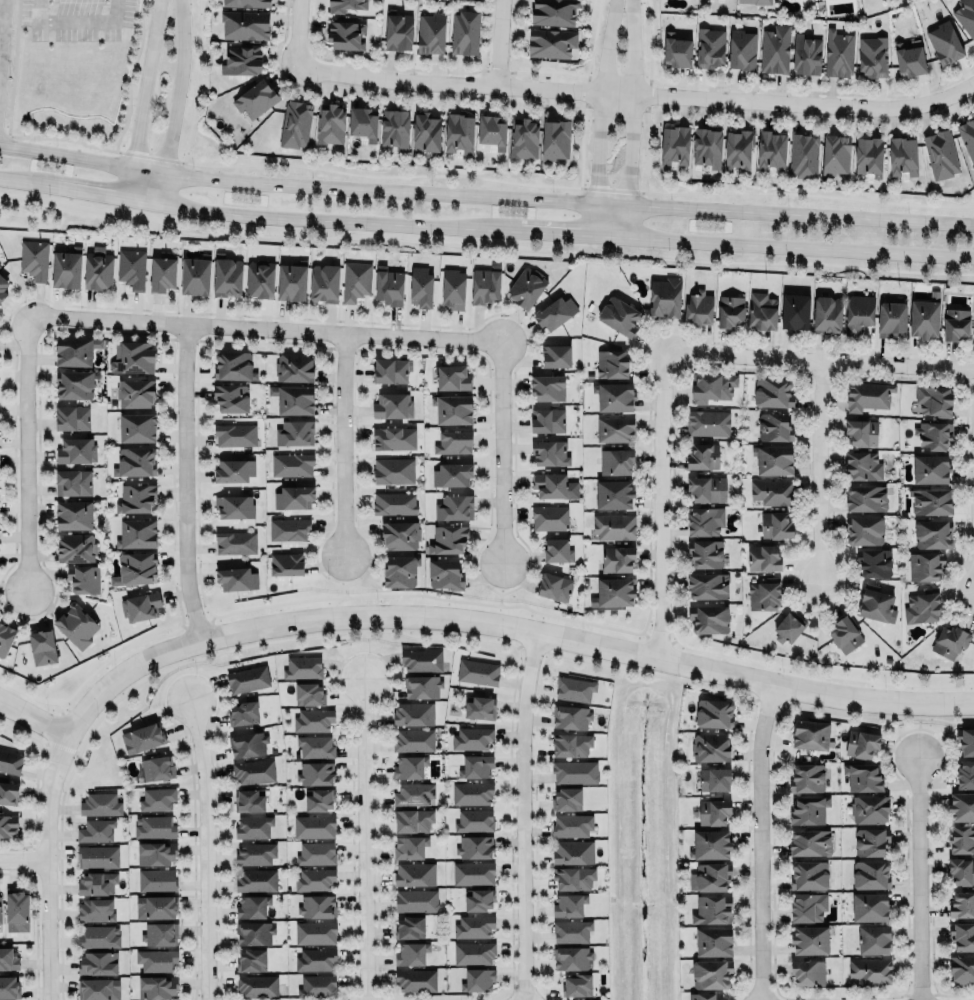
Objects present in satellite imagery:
building: (757, 1)
building: (246, 2)
building: (344, 4)
building: (552, 10)
building: (965, 17)
road: (1, 19)
parking lot: (75, 20)
road: (77, 20)
road: (2, 24)
building: (244, 25)
building: (397, 29)
building: (464, 30)
building: (345, 32)
road: (297, 33)
building: (430, 33)
building: (551, 41)
building: (945, 41)
road: (500, 42)
building: (709, 46)
building: (676, 48)
building: (742, 48)
building: (775, 48)
building: (839, 52)
building: (806, 54)
building: (873, 55)
building: (242, 58)
building: (909, 58)
road: (636, 94)
road: (143, 97)
building: (255, 98)
road: (176, 101)
road: (600, 115)
road: (633, 116)
building: (330, 122)
building: (363, 122)
building: (295, 123)
building: (395, 127)
building: (459, 131)
building: (491, 131)
building: (427, 132)
building: (524, 136)
building: (965, 136)
building: (555, 139)
building: (674, 144)
building: (707, 146)
building: (771, 149)
building: (737, 150)
building: (936, 151)
building: (835, 153)
building: (897, 154)
building: (803, 155)
building: (868, 156)
road: (485, 193)
road: (244, 214)
road: (559, 230)
road: (801, 244)
building: (34, 258)
building: (67, 266)
building: (131, 266)
building: (98, 267)
building: (162, 273)
building: (195, 274)
building: (227, 275)
building: (259, 279)
building: (291, 280)
building: (355, 280)
building: (324, 282)
building: (389, 284)
building: (484, 284)
building: (420, 285)
building: (526, 286)
building: (2, 287)
building: (453, 287)
building: (665, 296)
building: (698, 308)
building: (794, 309)
building: (730, 310)
building: (761, 310)
building: (555, 311)
building: (858, 312)
building: (826, 314)
building: (619, 315)
building: (889, 316)
building: (923, 317)
building: (956, 324)
road: (262, 329)
building: (973, 340)
building: (75, 349)
building: (556, 354)
building: (133, 356)
road: (819, 361)
building: (612, 362)
building: (233, 365)
building: (295, 366)
building: (390, 369)
building: (453, 375)
building: (74, 384)
building: (547, 384)
building: (711, 386)
building: (135, 392)
building: (773, 392)
building: (865, 394)
building: (614, 396)
building: (231, 398)
building: (294, 398)
building: (931, 398)
building: (392, 405)
building: (453, 409)
building: (72, 418)
building: (548, 419)
building: (707, 422)
building: (137, 426)
building: (773, 426)
building: (615, 428)
building: (860, 429)
building: (295, 431)
building: (933, 433)
building: (235, 434)
building: (394, 437)
building: (453, 440)
road: (340, 445)
building: (76, 449)
building: (549, 451)
road: (499, 452)
road: (25, 453)
building: (703, 455)
building: (773, 458)
building: (135, 461)
building: (616, 461)
building: (291, 464)
building: (863, 464)
building: (930, 468)
building: (233, 470)
building: (393, 470)
building: (452, 473)
road: (820, 473)
building: (73, 481)
building: (550, 483)
road: (184, 485)
building: (707, 488)
building: (772, 490)
building: (613, 492)
building: (294, 496)
building: (866, 497)
building: (136, 498)
building: (929, 498)
building: (394, 503)
building: (234, 505)
road: (659, 505)
building: (454, 506)
building: (73, 514)
building: (549, 517)
building: (704, 521)
building: (613, 525)
building: (775, 525)
building: (288, 528)
building: (864, 529)
building: (930, 530)
building: (137, 532)
building: (400, 533)
building: (448, 539)
building: (236, 541)
building: (76, 547)
building: (557, 550)
building: (705, 552)
building: (763, 556)
building: (617, 559)
building: (872, 559)
building: (285, 561)
building: (923, 564)
building: (136, 567)
building: (401, 569)
building: (444, 573)
building: (83, 578)
building: (236, 579)
building: (707, 584)
building: (554, 585)
road: (345, 587)
building: (613, 592)
road: (499, 593)
building: (763, 594)
building: (875, 603)
building: (921, 604)
building: (140, 605)
building: (709, 618)
building: (76, 624)
road: (505, 625)
building: (788, 627)
building: (845, 633)
building: (5, 637)
building: (950, 640)
building: (42, 647)
road: (364, 648)
building: (422, 659)
building: (303, 666)
building: (477, 672)
road: (814, 673)
road: (181, 675)
building: (247, 677)
building: (422, 685)
building: (574, 689)
building: (309, 694)
building: (480, 706)
building: (241, 710)
building: (412, 712)
building: (714, 712)
building: (571, 716)
road: (34, 718)
building: (313, 719)
road: (919, 731)
building: (810, 734)
building: (142, 735)
building: (469, 737)
building: (413, 739)
building: (965, 741)
building: (861, 742)
building: (247, 744)
building: (315, 745)
building: (571, 745)
building: (709, 746)
building: (10, 760)
building: (410, 766)
building: (476, 766)
building: (156, 768)
building: (253, 771)
building: (575, 771)
building: (315, 772)
building: (965, 774)
building: (862, 776)
building: (807, 777)
building: (714, 778)
building: (9, 791)
building: (472, 792)
building: (413, 794)
building: (156, 798)
building: (248, 799)
building: (567, 799)
building: (319, 800)
building: (100, 803)
building: (961, 806)
building: (870, 808)
building: (808, 809)
building: (712, 811)
road: (523, 815)
building: (412, 820)
building: (474, 820)
building: (8, 824)
building: (253, 825)
building: (313, 825)
building: (571, 825)
building: (154, 826)
building: (96, 829)
road: (366, 839)
building: (961, 839)
road: (761, 840)
building: (870, 841)
building: (810, 842)
building: (710, 843)
building: (475, 845)
building: (410, 846)
road: (207, 849)
building: (154, 851)
building: (572, 852)
building: (255, 853)
building: (316, 853)
building: (97, 855)
road: (24, 858)
road: (49, 867)
building: (961, 870)
building: (473, 872)
building: (870, 873)
building: (414, 874)
building: (808, 874)
building: (710, 876)
building: (314, 878)
building: (573, 878)
building: (156, 879)
building: (256, 880)
road: (919, 880)
building: (96, 882)
building: (479, 899)
building: (415, 900)
building: (249, 904)
building: (869, 904)
building: (962, 904)
building: (317, 905)
building: (569, 905)
building: (807, 906)
building: (155, 907)
building: (0, 908)
building: (95, 909)
building: (712, 909)
building: (16, 911)
building: (410, 926)
building: (473, 926)
building: (253, 930)
building: (571, 930)
building: (158, 932)
building: (315, 932)
building: (99, 936)
building: (961, 936)
building: (873, 939)
building: (809, 940)
building: (713, 941)
building: (473, 952)
building: (411, 953)
building: (9, 958)
building: (571, 958)
building: (251, 959)
building: (315, 959)
building: (156, 960)
building: (97, 963)
building: (870, 969)
building: (961, 969)
building: (807, 972)
building: (711, 973)
building: (478, 979)
building: (415, 980)
building: (155, 983)
building: (9, 984)
building: (577, 984)
building: (257, 985)
building: (317, 986)
building: (98, 989)
building: (704, 996)

